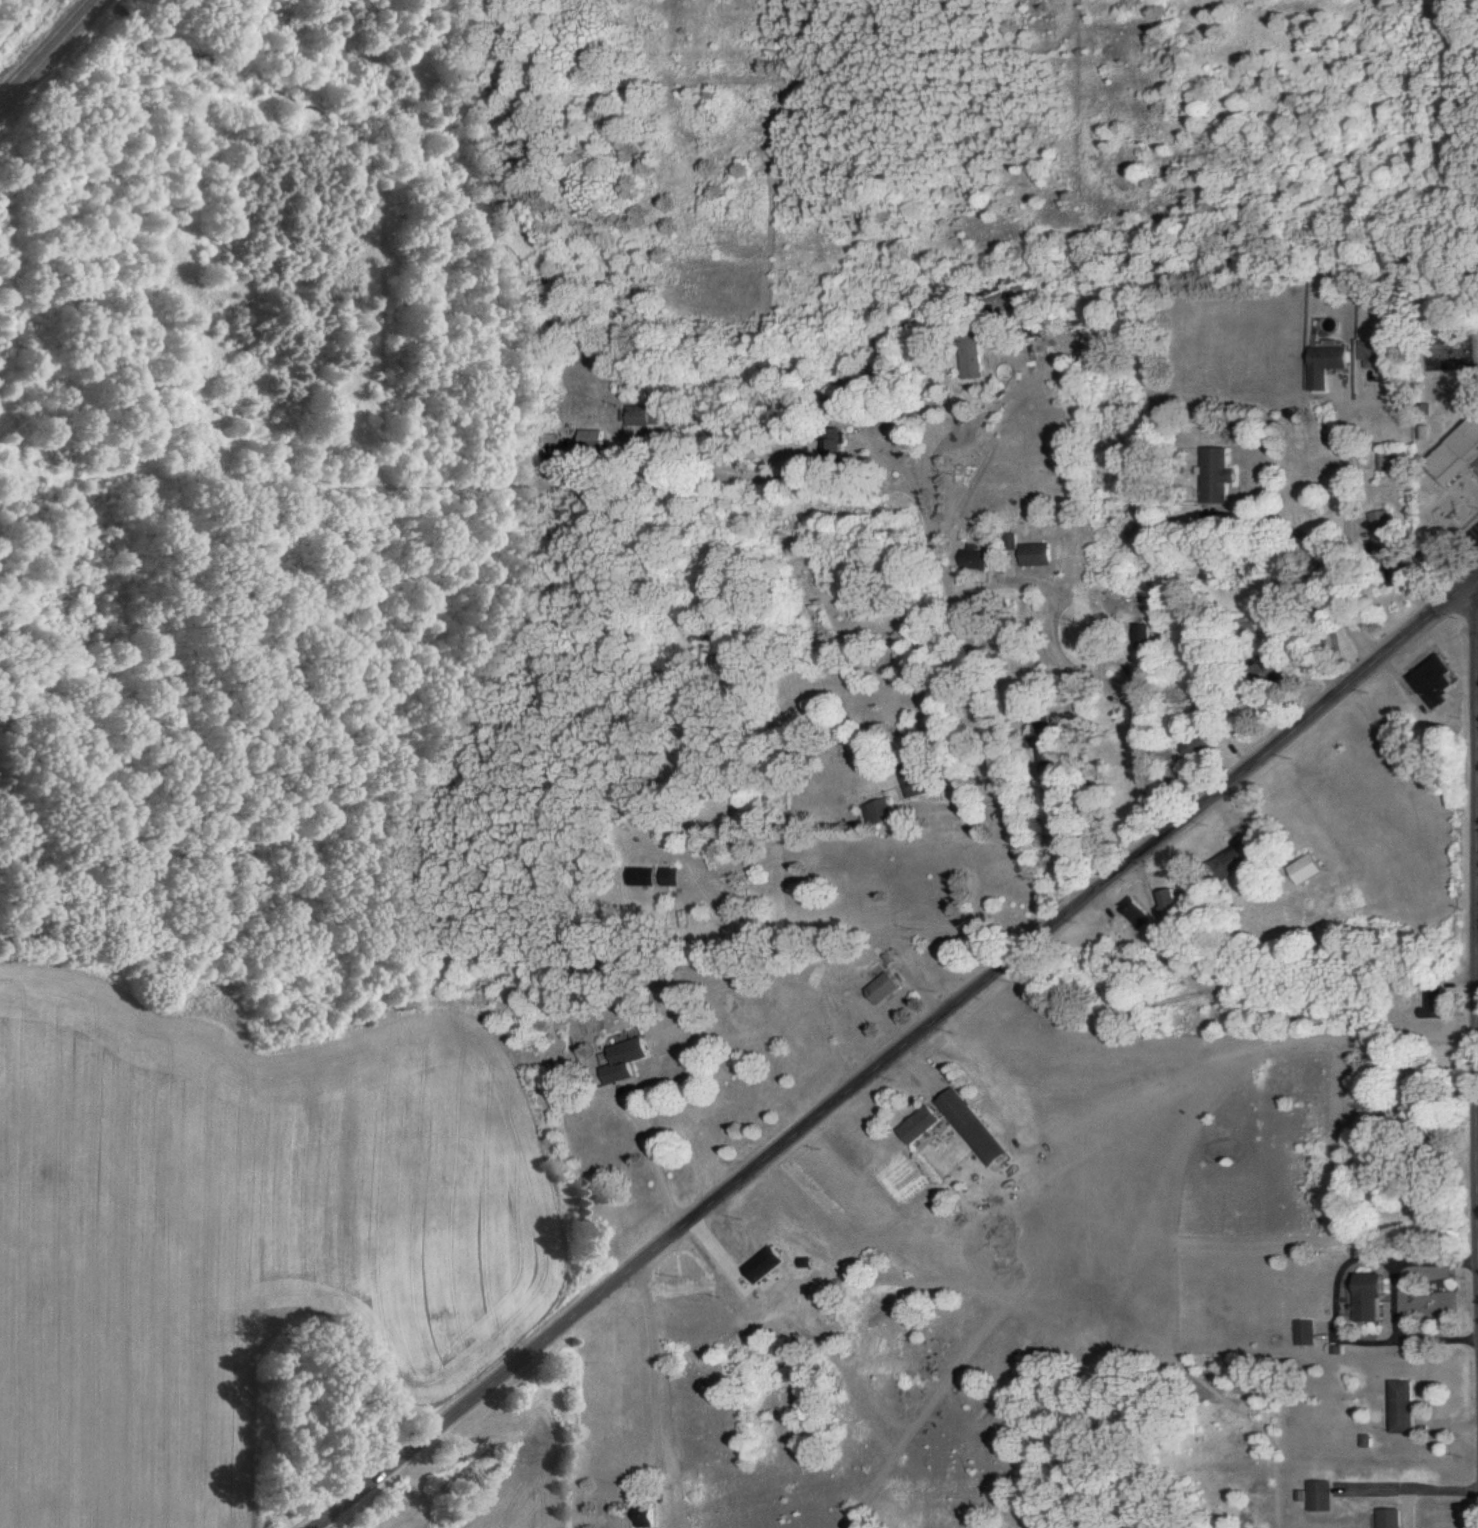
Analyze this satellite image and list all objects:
railway: (40, 44)
railway: (47, 50)
building: (1377, 354)
building: (972, 359)
building: (1329, 365)
building: (639, 416)
building: (1331, 435)
building: (592, 439)
building: (837, 443)
building: (1457, 456)
road: (936, 475)
building: (1217, 476)
road: (814, 484)
road: (925, 509)
building: (1011, 541)
building: (1390, 547)
road: (1350, 552)
building: (1036, 554)
building: (975, 556)
road: (1320, 571)
road: (1112, 603)
road: (792, 604)
building: (1142, 634)
building: (1434, 681)
road: (1081, 739)
building: (1192, 745)
building: (912, 783)
building: (876, 812)
road: (1015, 818)
building: (1232, 861)
building: (1304, 869)
building: (640, 876)
building: (668, 877)
building: (1170, 908)
building: (1135, 910)
building: (883, 988)
road: (899, 1055)
building: (624, 1060)
building: (919, 1125)
building: (972, 1127)
road: (663, 1160)
building: (764, 1264)
building: (1366, 1297)
road: (1336, 1301)
road: (1391, 1301)
building: (1303, 1332)
building: (1396, 1407)
road: (1407, 1488)
building: (1315, 1496)
building: (645, 1516)
building: (1383, 1518)

